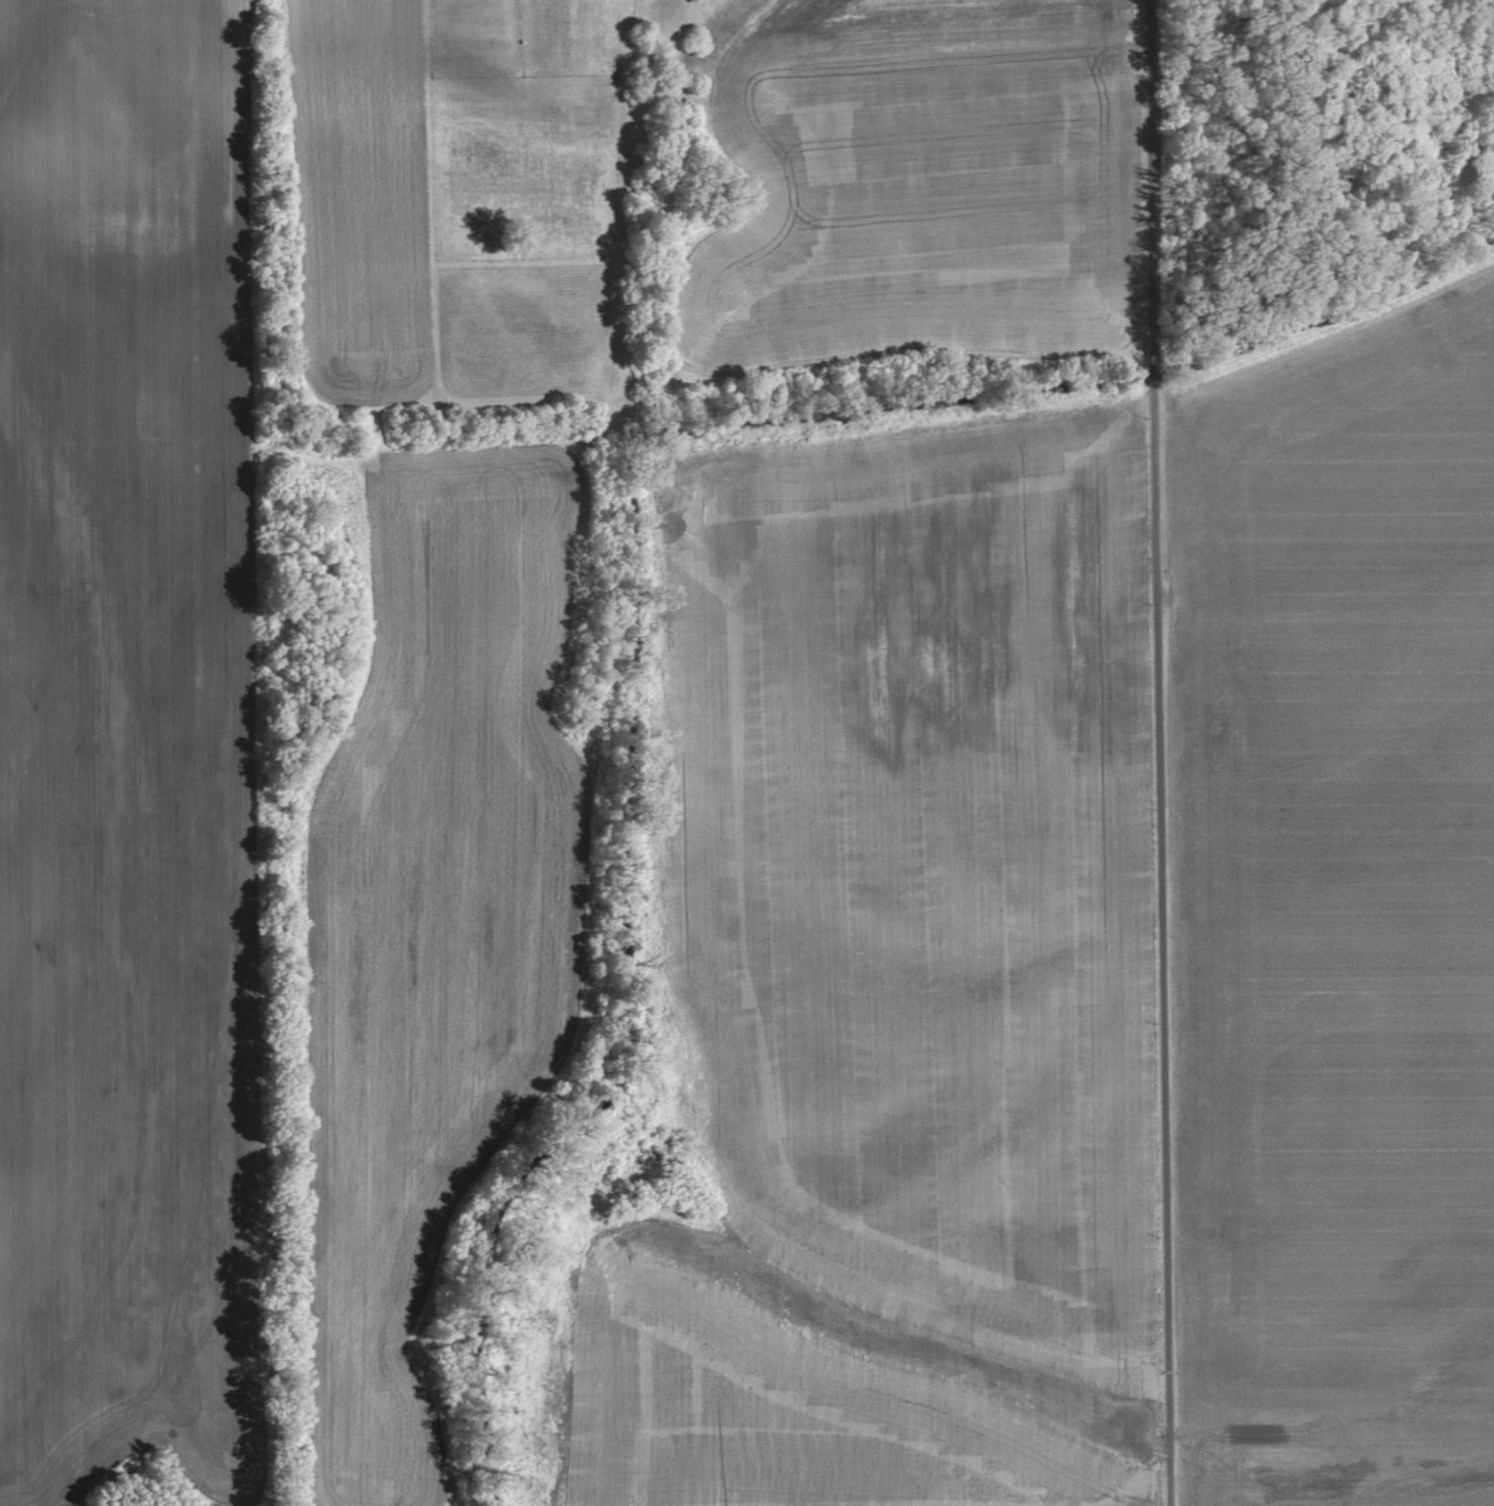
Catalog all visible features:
road: (1161, 753)

